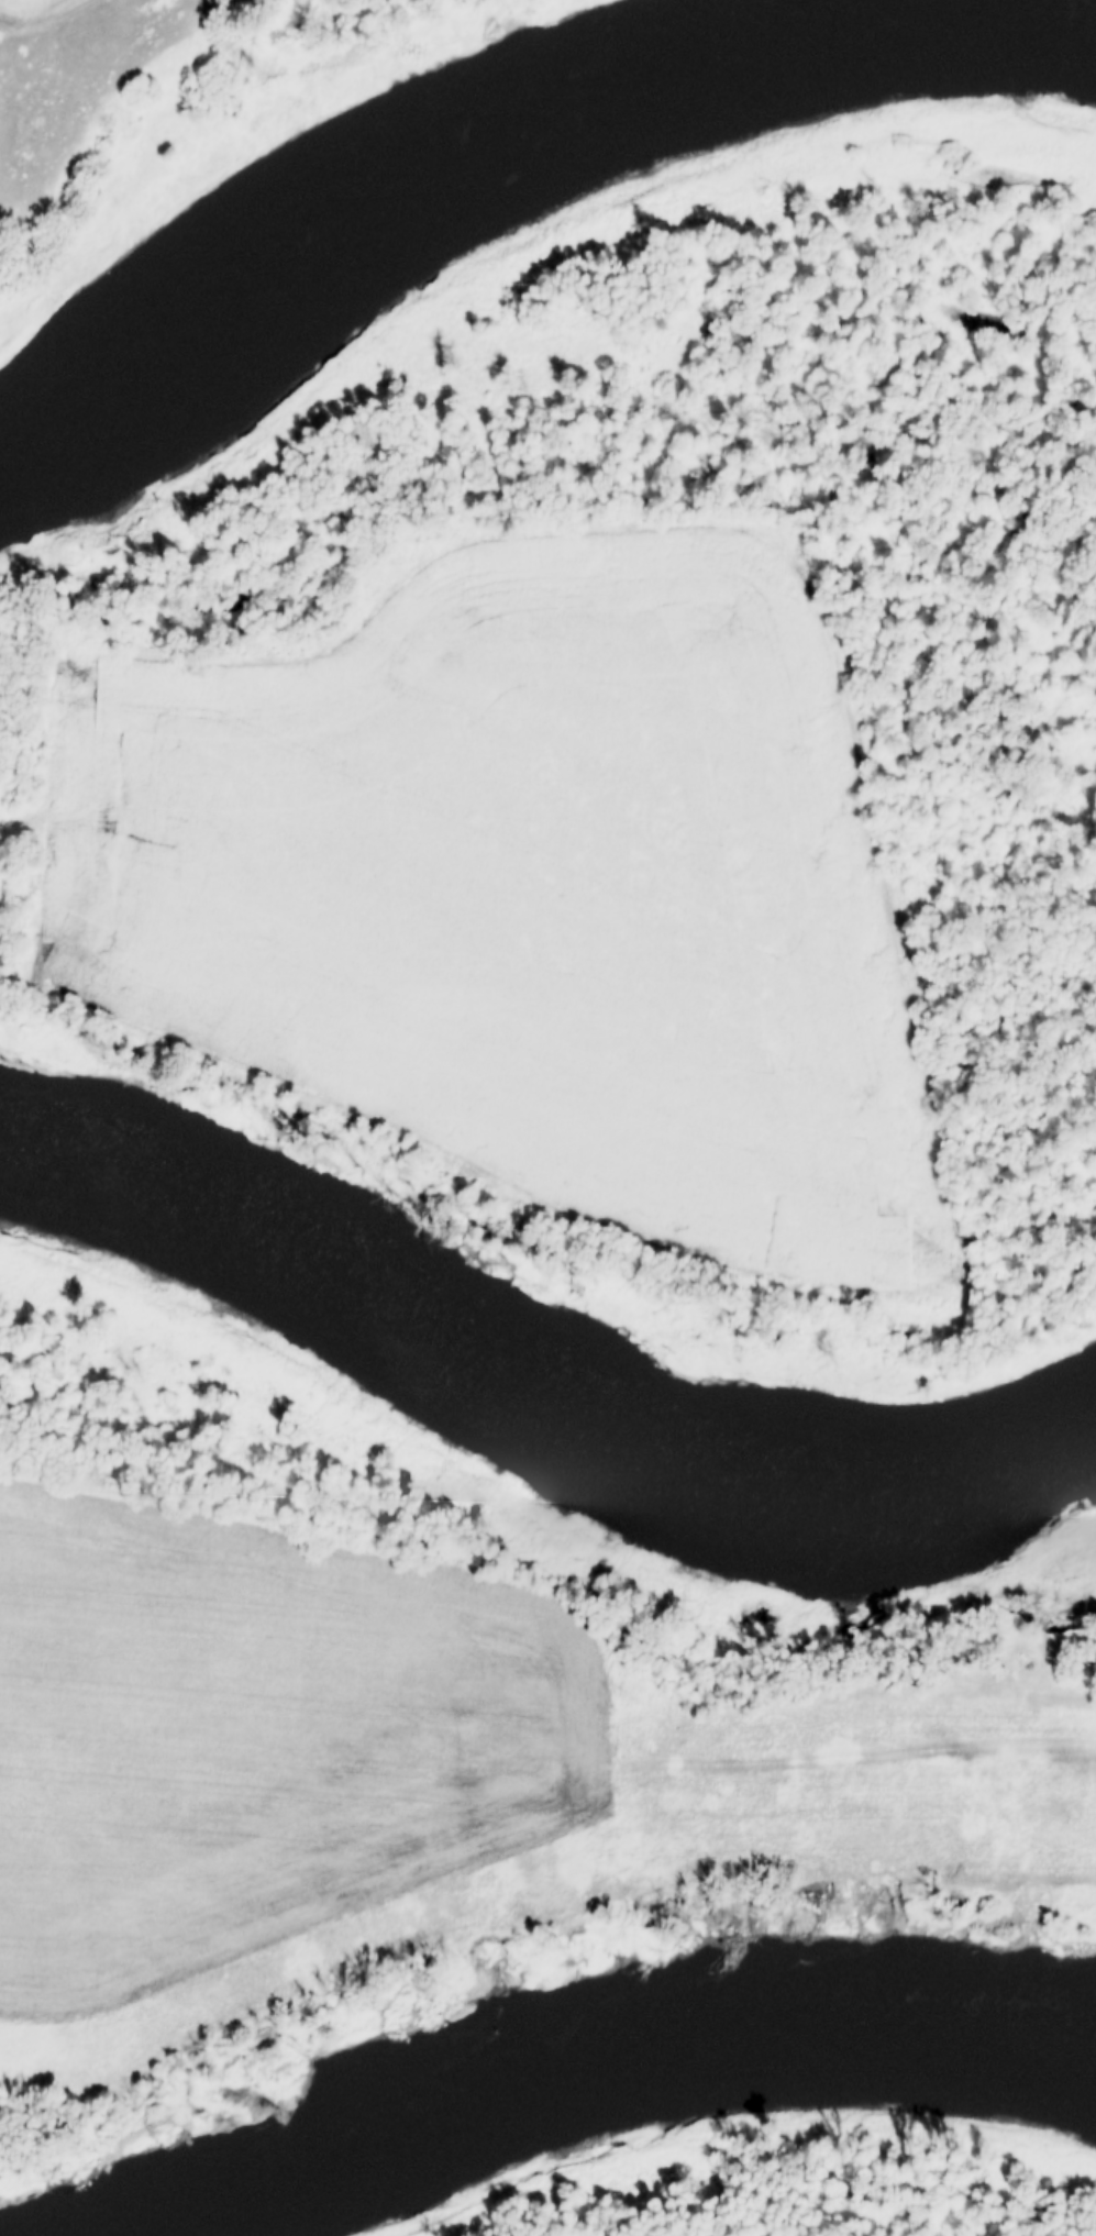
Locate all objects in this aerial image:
river: (514, 147)
river: (523, 1384)
river: (607, 2058)

